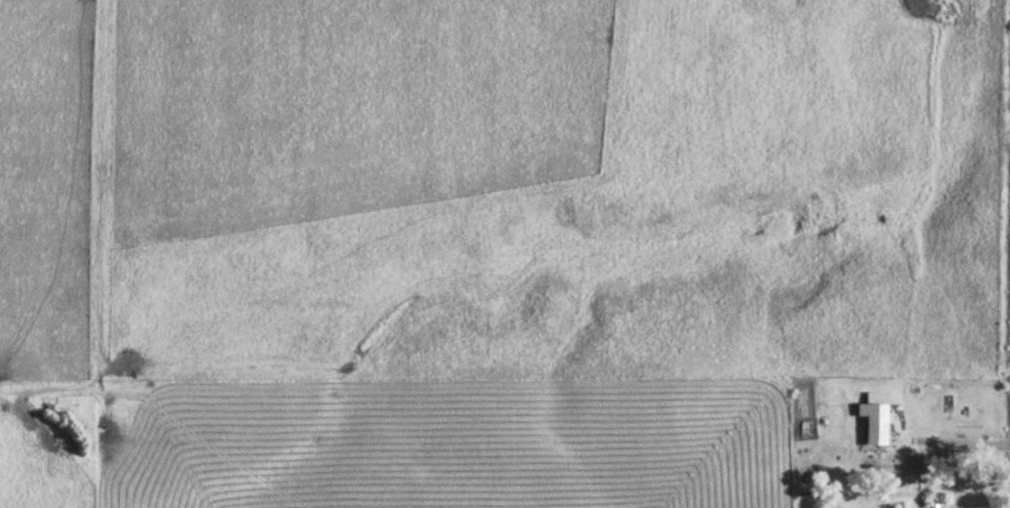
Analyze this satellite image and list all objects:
building: (872, 423)

